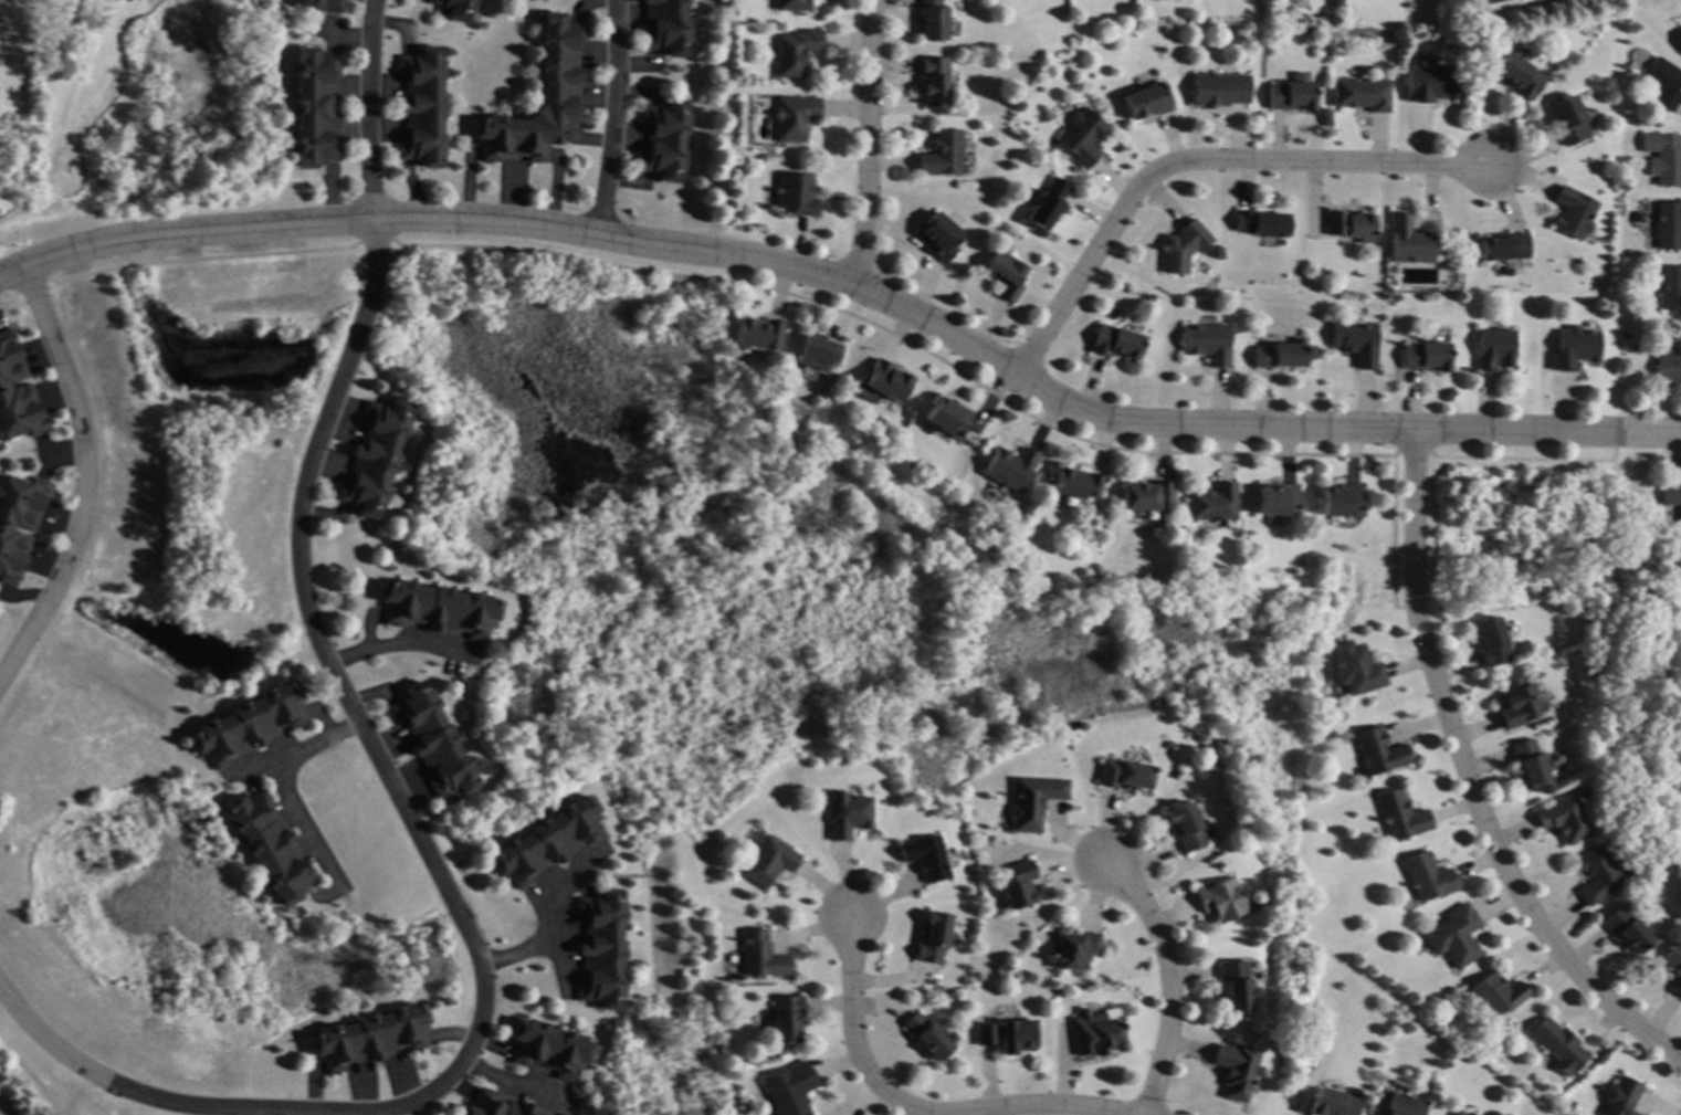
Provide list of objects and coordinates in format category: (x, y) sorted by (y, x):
building: (1489, 1)
building: (323, 4)
building: (791, 4)
building: (454, 9)
building: (933, 20)
building: (668, 27)
building: (1680, 34)
building: (1679, 39)
building: (795, 51)
building: (1516, 76)
building: (934, 80)
building: (1429, 82)
building: (1664, 82)
building: (1218, 90)
building: (560, 92)
building: (1360, 94)
building: (1290, 96)
building: (1146, 101)
building: (314, 107)
building: (421, 107)
road: (370, 109)
building: (795, 116)
road: (617, 117)
building: (1566, 119)
building: (1081, 136)
building: (665, 139)
road: (869, 140)
building: (943, 154)
road: (1194, 160)
building: (1667, 160)
building: (796, 193)
building: (1048, 203)
building: (1572, 213)
building: (1260, 222)
building: (1348, 225)
building: (1668, 225)
building: (938, 236)
building: (1408, 241)
building: (1181, 246)
building: (1502, 248)
road: (925, 252)
building: (288, 263)
building: (1505, 271)
building: (1005, 274)
building: (350, 276)
road: (852, 278)
building: (1670, 288)
building: (758, 334)
building: (1622, 335)
building: (1116, 343)
building: (1208, 343)
building: (1355, 343)
building: (1574, 348)
building: (1493, 349)
building: (816, 353)
building: (1281, 355)
building: (1425, 357)
building: (1669, 365)
building: (886, 381)
building: (14, 395)
building: (947, 418)
building: (374, 455)
building: (1009, 467)
road: (82, 475)
building: (1075, 484)
building: (1146, 497)
building: (1672, 498)
building: (1275, 501)
building: (1339, 501)
building: (1212, 502)
building: (15, 523)
road: (1624, 599)
park: (1580, 606)
building: (437, 609)
road: (395, 632)
building: (1489, 641)
building: (1353, 669)
building: (1514, 701)
building: (245, 723)
building: (431, 741)
building: (1377, 751)
building: (1528, 765)
road: (276, 770)
building: (1123, 775)
road: (1470, 780)
building: (1031, 801)
building: (844, 813)
building: (1399, 817)
building: (1563, 818)
building: (1184, 827)
building: (545, 841)
building: (265, 845)
building: (924, 856)
building: (766, 861)
building: (1595, 874)
building: (1425, 876)
road: (440, 884)
building: (1016, 884)
building: (1218, 900)
building: (1625, 929)
road: (533, 934)
building: (1453, 936)
building: (931, 938)
building: (599, 949)
building: (1071, 949)
road: (557, 951)
building: (758, 955)
building: (1673, 965)
road: (1169, 981)
building: (1235, 985)
building: (1493, 996)
building: (784, 1018)
building: (1092, 1033)
building: (925, 1035)
building: (1006, 1035)
building: (367, 1038)
road: (852, 1042)
building: (1557, 1045)
building: (546, 1050)
building: (1235, 1070)
road: (515, 1086)
building: (788, 1090)
building: (1618, 1097)
building: (1331, 1103)
building: (492, 1105)
road: (1044, 1105)
building: (1399, 1106)
building: (1454, 1113)
building: (557, 1114)
building: (1465, 1114)

